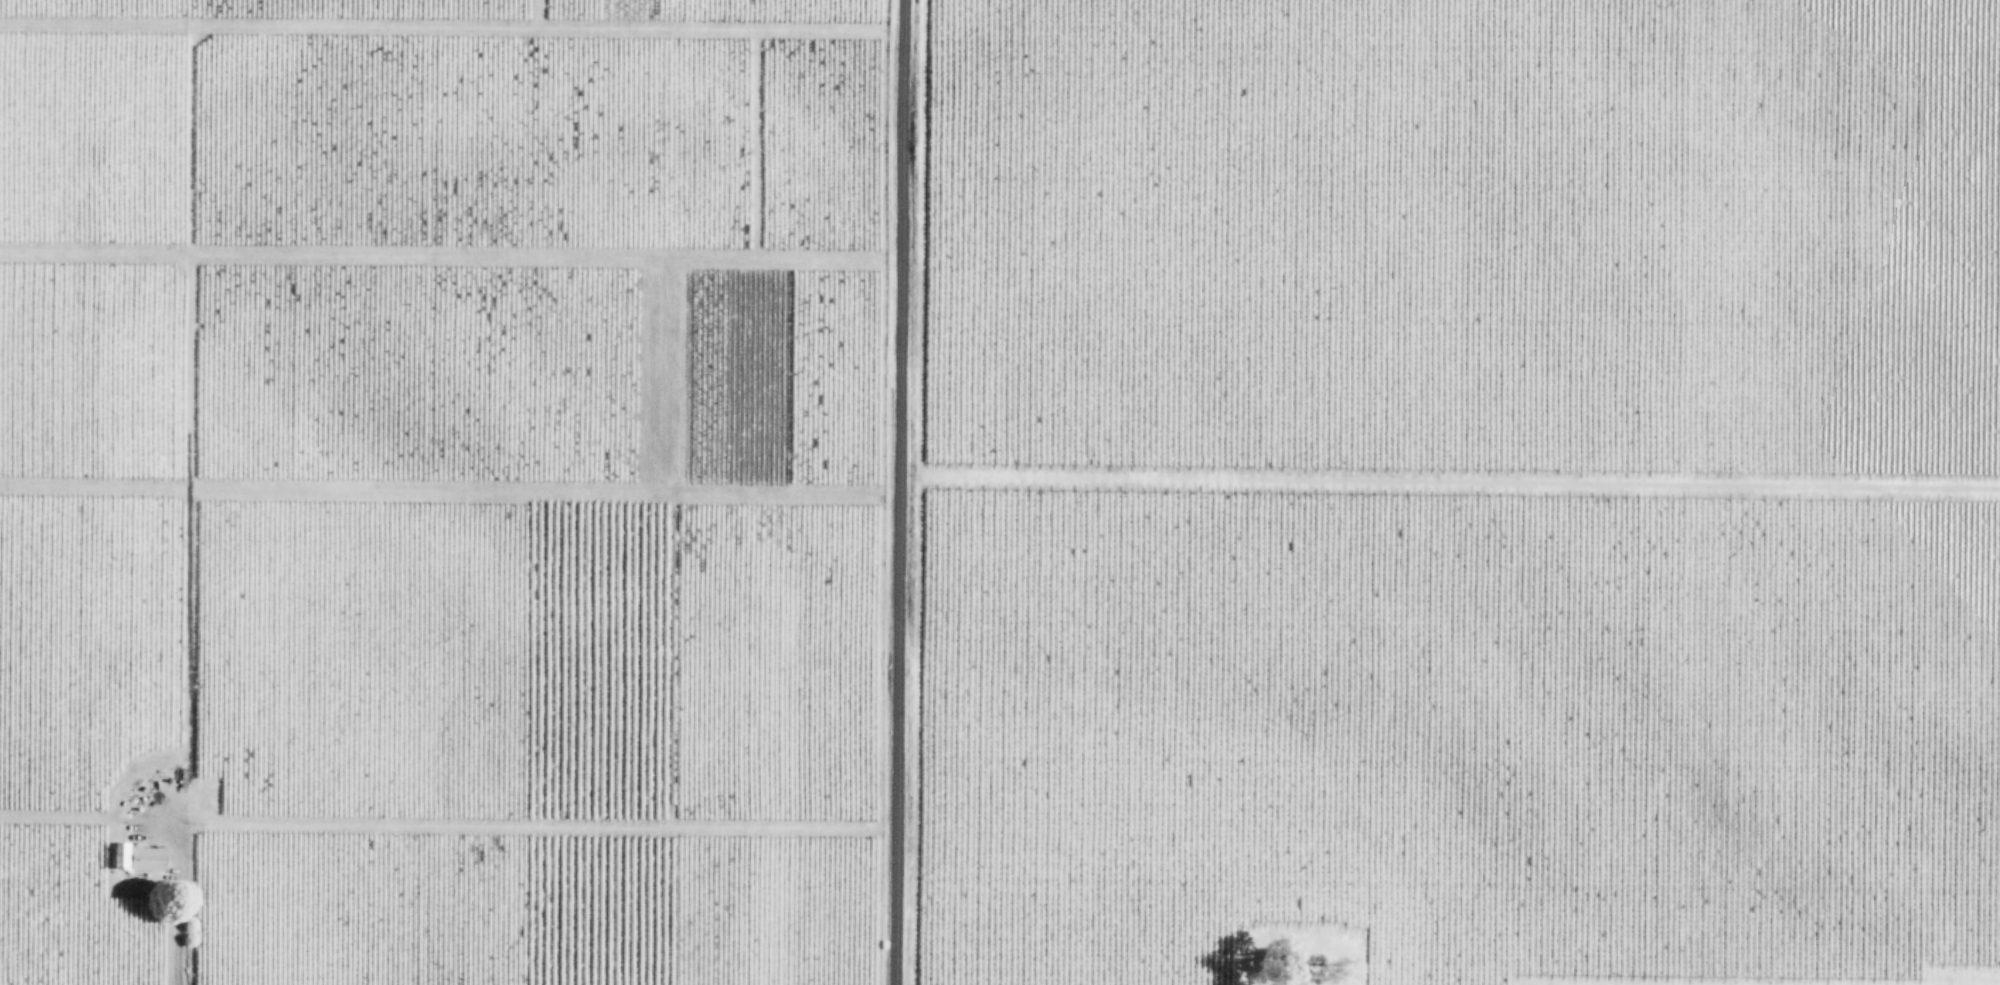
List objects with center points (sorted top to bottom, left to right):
road: (900, 492)

